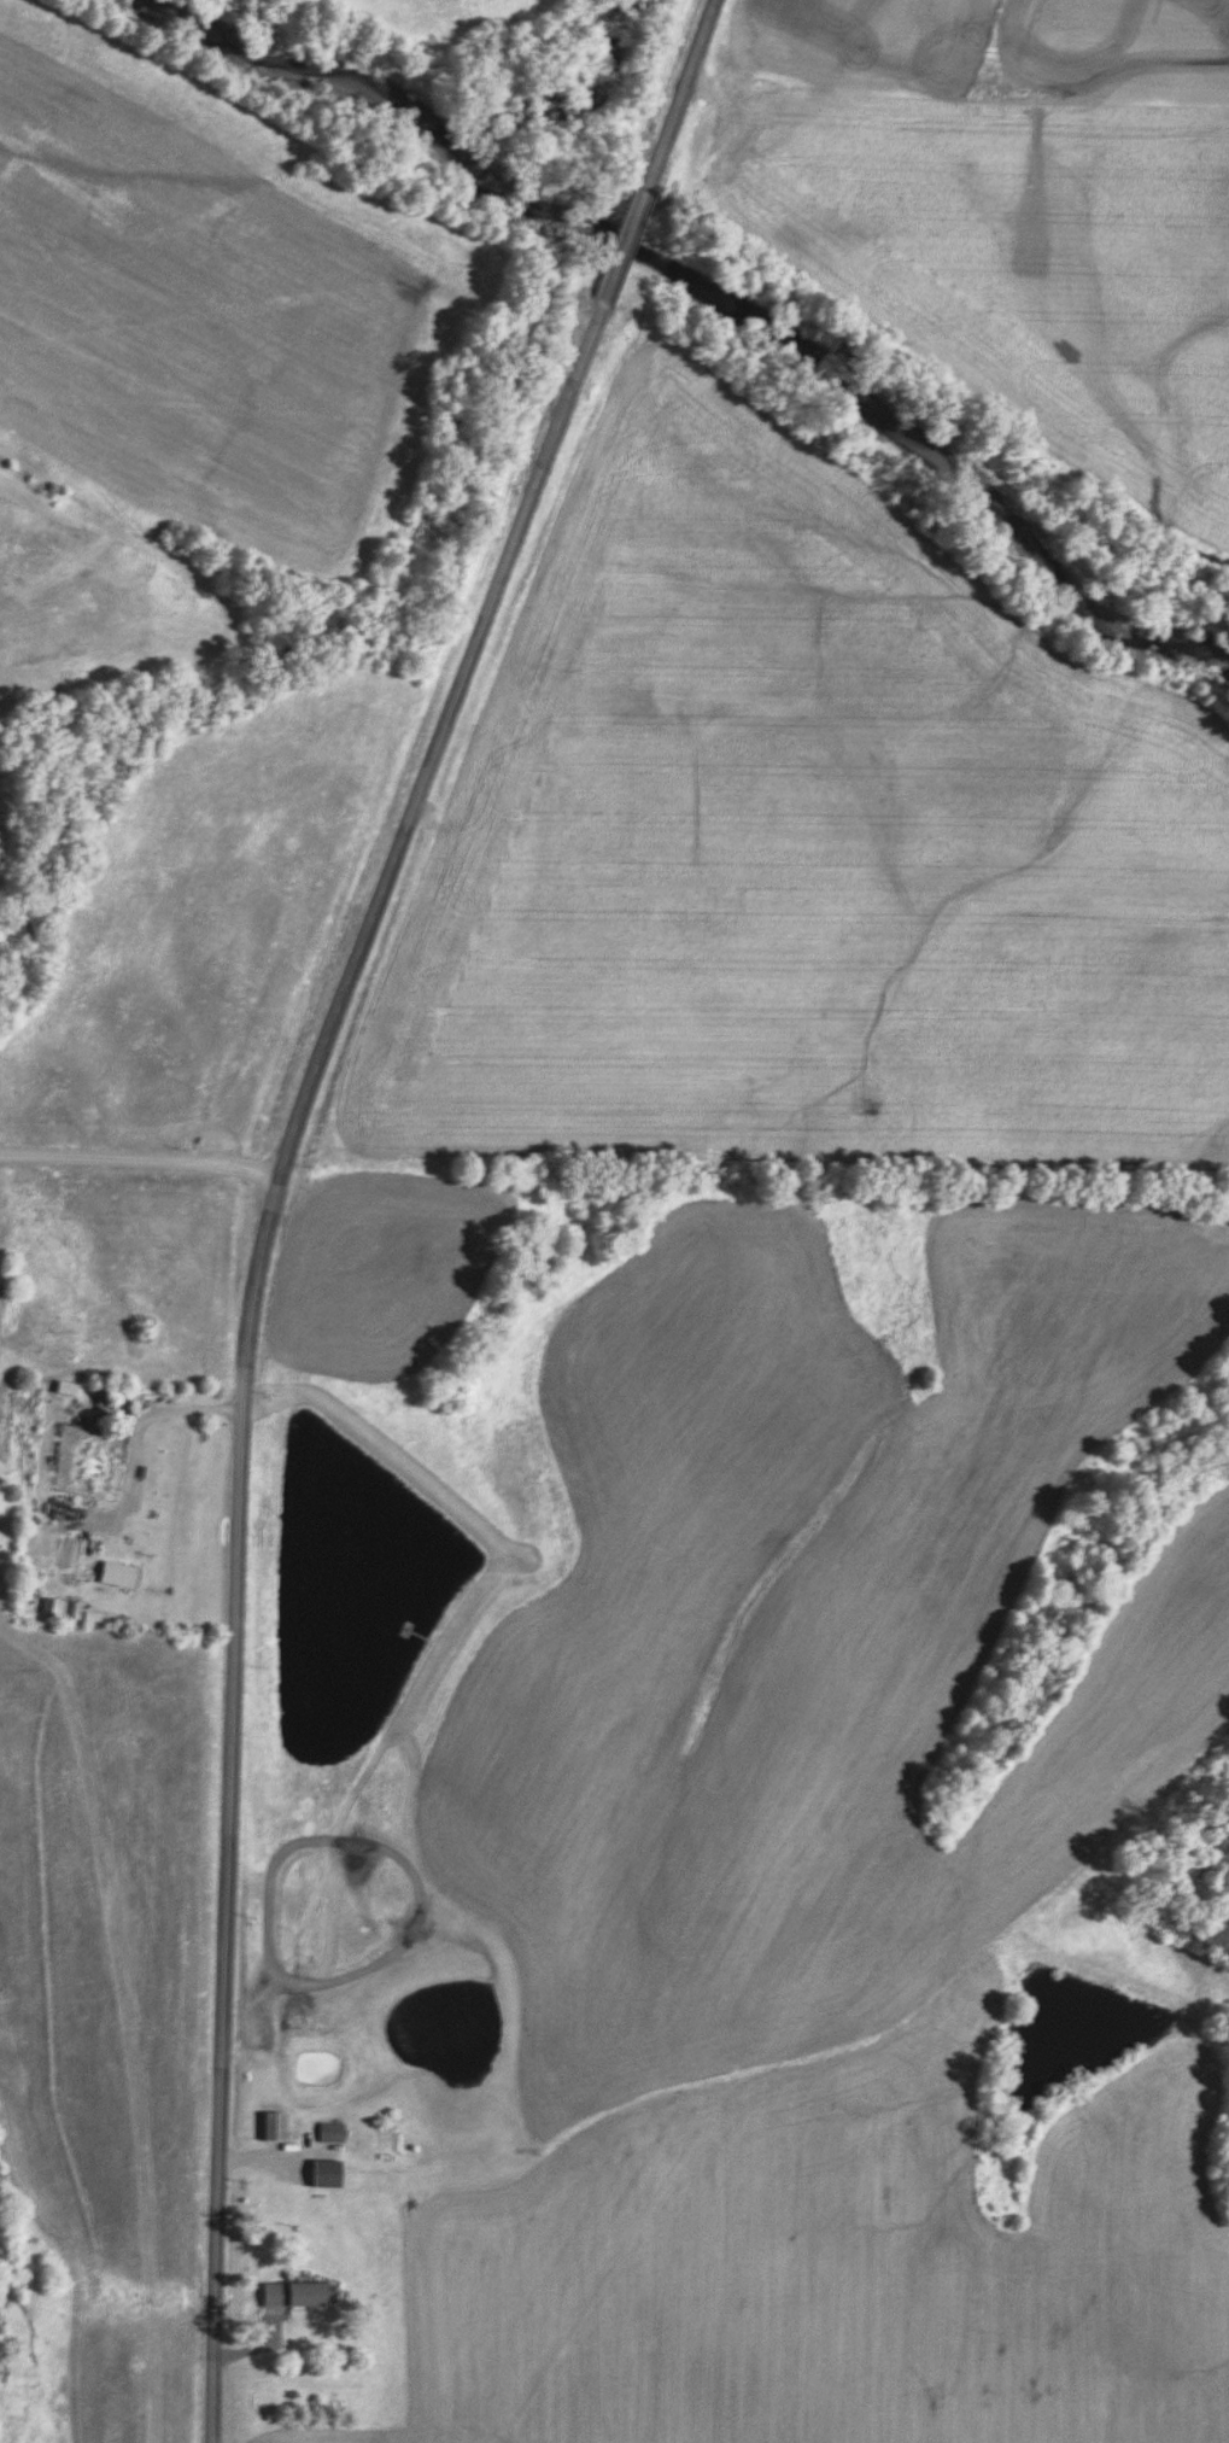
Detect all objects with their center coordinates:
road: (139, 1157)
road: (274, 1183)
road: (154, 1410)
building: (277, 2125)
building: (332, 2131)
building: (329, 2173)
building: (295, 2293)

